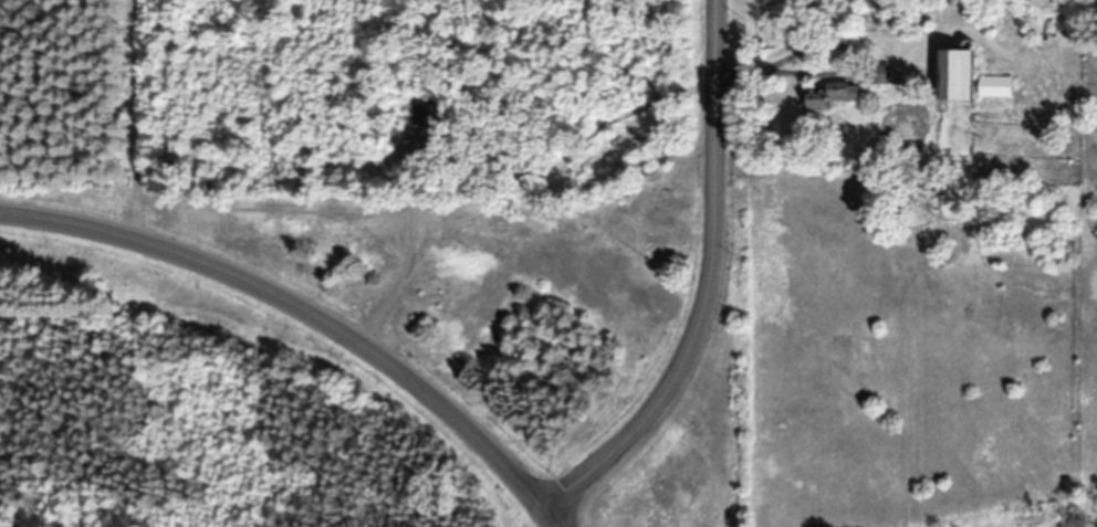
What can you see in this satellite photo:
building: (961, 74)
building: (999, 87)
building: (830, 96)
building: (426, 115)
road: (709, 282)
road: (305, 307)
road: (558, 520)

